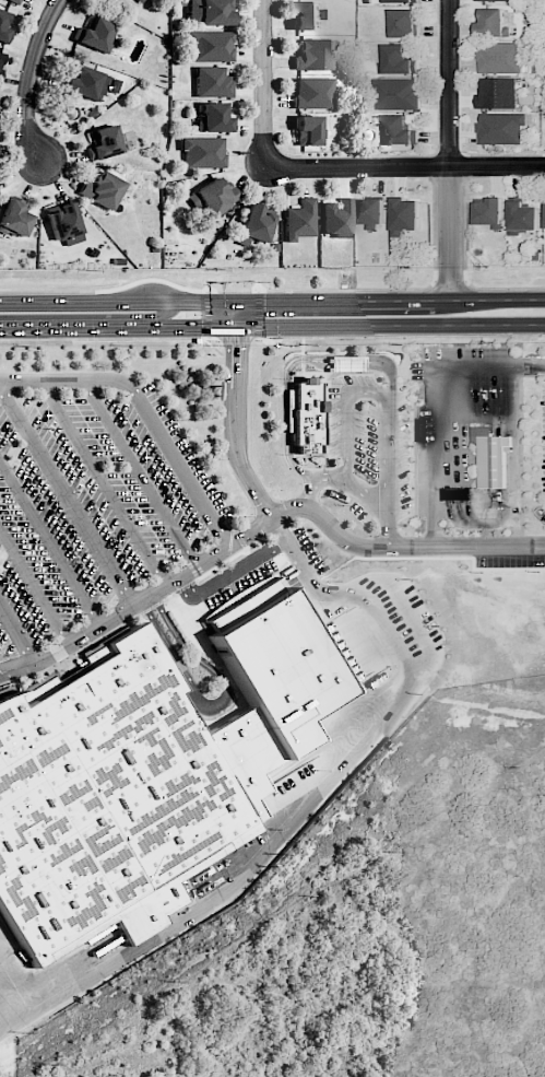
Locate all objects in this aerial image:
building: (497, 0)
building: (16, 1)
building: (400, 1)
building: (209, 12)
building: (306, 15)
building: (403, 23)
building: (493, 23)
building: (3, 27)
building: (94, 34)
building: (209, 46)
building: (315, 55)
building: (501, 58)
building: (1, 60)
building: (398, 60)
road: (28, 81)
building: (212, 81)
building: (82, 82)
road: (262, 84)
building: (313, 92)
building: (398, 93)
building: (498, 93)
building: (213, 118)
building: (502, 128)
building: (308, 130)
building: (399, 131)
building: (103, 142)
road: (450, 150)
building: (202, 152)
road: (403, 168)
building: (102, 189)
building: (215, 196)
building: (371, 212)
building: (490, 213)
building: (405, 216)
building: (523, 216)
building: (336, 219)
building: (14, 220)
building: (299, 220)
building: (63, 223)
building: (253, 225)
traffic signals: (264, 302)
road: (272, 302)
road: (272, 326)
traffic signals: (202, 327)
traffic signals: (236, 348)
road: (292, 360)
road: (381, 395)
road: (434, 401)
road: (146, 407)
road: (236, 414)
building: (306, 417)
building: (493, 460)
road: (139, 472)
road: (103, 481)
road: (354, 488)
road: (67, 494)
building: (455, 494)
parking lot: (91, 506)
road: (50, 541)
road: (400, 545)
road: (34, 587)
road: (139, 600)
road: (17, 631)
road: (218, 705)
building: (115, 797)
road: (310, 815)
road: (16, 1026)

